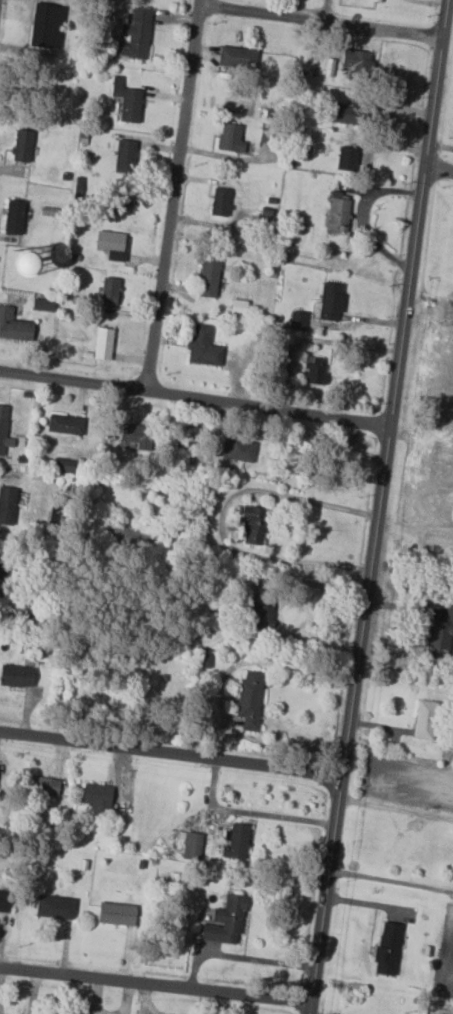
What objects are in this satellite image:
road: (321, 21)
building: (46, 26)
building: (137, 34)
building: (238, 57)
building: (357, 61)
building: (127, 100)
building: (345, 112)
building: (267, 135)
building: (232, 138)
building: (22, 145)
building: (125, 155)
building: (347, 158)
road: (437, 174)
road: (167, 196)
building: (122, 199)
building: (221, 201)
building: (338, 214)
building: (14, 216)
building: (111, 244)
building: (21, 258)
building: (209, 276)
building: (109, 290)
building: (331, 301)
building: (44, 305)
building: (239, 306)
building: (298, 319)
building: (14, 325)
building: (103, 343)
building: (203, 346)
building: (315, 369)
road: (193, 400)
building: (65, 424)
building: (4, 428)
building: (137, 435)
road: (291, 440)
building: (238, 449)
building: (63, 464)
building: (7, 505)
road: (376, 507)
road: (223, 519)
building: (253, 524)
road: (301, 581)
building: (263, 610)
building: (439, 635)
building: (16, 675)
road: (220, 693)
building: (250, 698)
building: (425, 720)
road: (171, 756)
building: (42, 785)
building: (97, 797)
building: (236, 841)
road: (390, 881)
building: (4, 901)
building: (55, 907)
building: (116, 914)
building: (226, 921)
building: (388, 948)
road: (152, 990)

